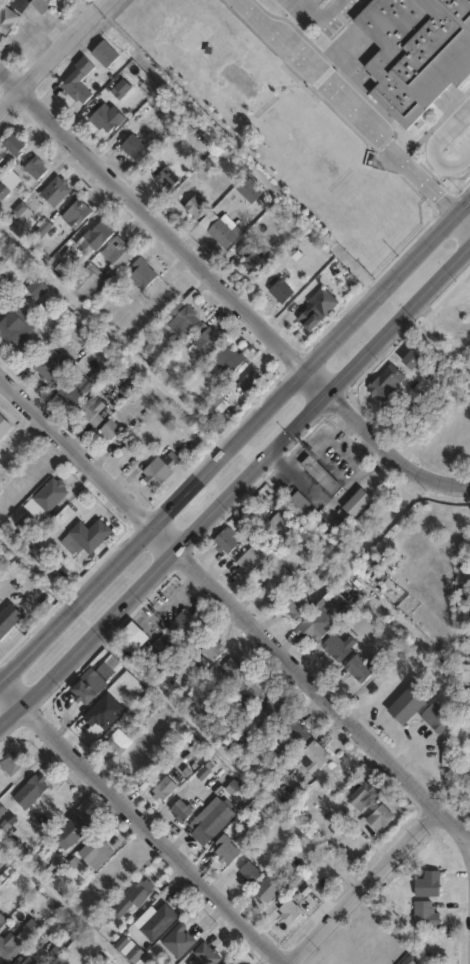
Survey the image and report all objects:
building: (16, 3)
building: (34, 10)
road: (320, 15)
building: (6, 20)
road: (52, 51)
building: (415, 52)
building: (105, 57)
building: (77, 81)
building: (159, 101)
road: (353, 104)
building: (104, 119)
building: (13, 145)
road: (435, 148)
building: (134, 149)
building: (0, 160)
building: (34, 168)
building: (166, 178)
building: (8, 184)
building: (249, 190)
building: (55, 192)
building: (195, 207)
building: (21, 215)
building: (76, 215)
road: (463, 218)
road: (163, 229)
building: (219, 230)
building: (98, 234)
building: (117, 253)
building: (257, 263)
building: (142, 274)
building: (90, 285)
building: (36, 288)
building: (281, 292)
building: (0, 304)
building: (315, 309)
building: (182, 319)
building: (16, 328)
building: (204, 340)
building: (228, 358)
building: (411, 361)
building: (51, 365)
building: (250, 383)
building: (385, 383)
building: (72, 390)
building: (218, 405)
building: (91, 411)
building: (4, 428)
building: (109, 430)
road: (234, 439)
road: (390, 449)
road: (86, 460)
building: (160, 470)
building: (320, 475)
road: (238, 480)
building: (50, 495)
building: (299, 503)
building: (357, 504)
building: (281, 525)
building: (89, 536)
building: (226, 542)
building: (250, 560)
building: (279, 584)
building: (294, 605)
building: (465, 612)
building: (8, 620)
building: (191, 623)
building: (315, 625)
building: (338, 647)
building: (212, 649)
building: (233, 668)
building: (360, 670)
building: (93, 682)
road: (9, 687)
building: (255, 689)
road: (318, 692)
building: (409, 704)
building: (274, 710)
building: (436, 719)
building: (295, 732)
building: (118, 741)
building: (446, 754)
road: (226, 756)
building: (314, 757)
building: (11, 763)
building: (164, 788)
building: (30, 790)
building: (363, 795)
building: (181, 810)
building: (2, 811)
building: (380, 817)
building: (210, 823)
building: (71, 831)
road: (152, 831)
building: (225, 850)
building: (95, 852)
building: (249, 872)
building: (275, 884)
building: (428, 884)
road: (360, 886)
building: (137, 895)
road: (62, 902)
building: (290, 911)
building: (426, 915)
building: (2, 919)
building: (159, 921)
building: (29, 931)
building: (178, 940)
building: (7, 945)
building: (136, 954)
building: (206, 955)
building: (411, 959)
building: (24, 961)
building: (227, 963)
building: (234, 963)

